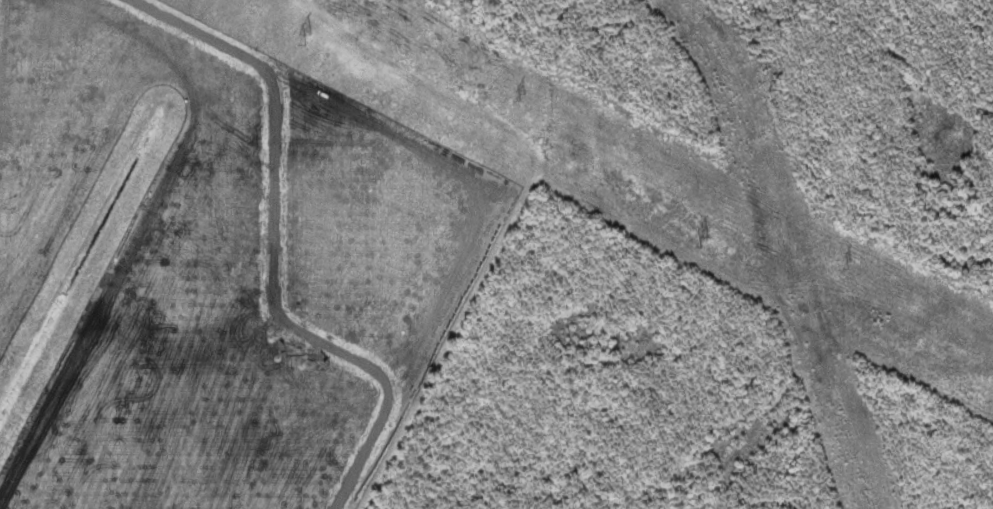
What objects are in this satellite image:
power tower: (308, 36)
power tower: (520, 90)
power tower: (705, 239)
power tower: (851, 265)

